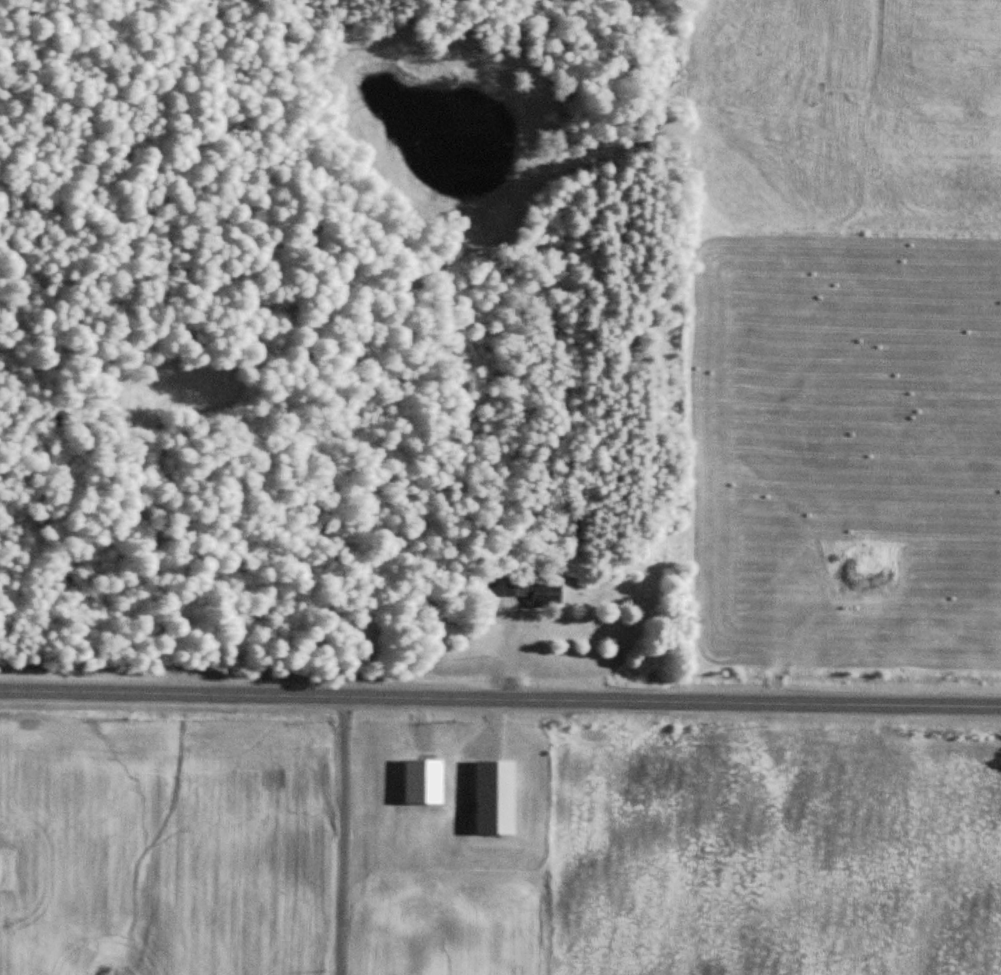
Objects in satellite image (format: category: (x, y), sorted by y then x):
building: (536, 591)
building: (496, 616)
road: (500, 696)
building: (424, 781)
road: (343, 834)

